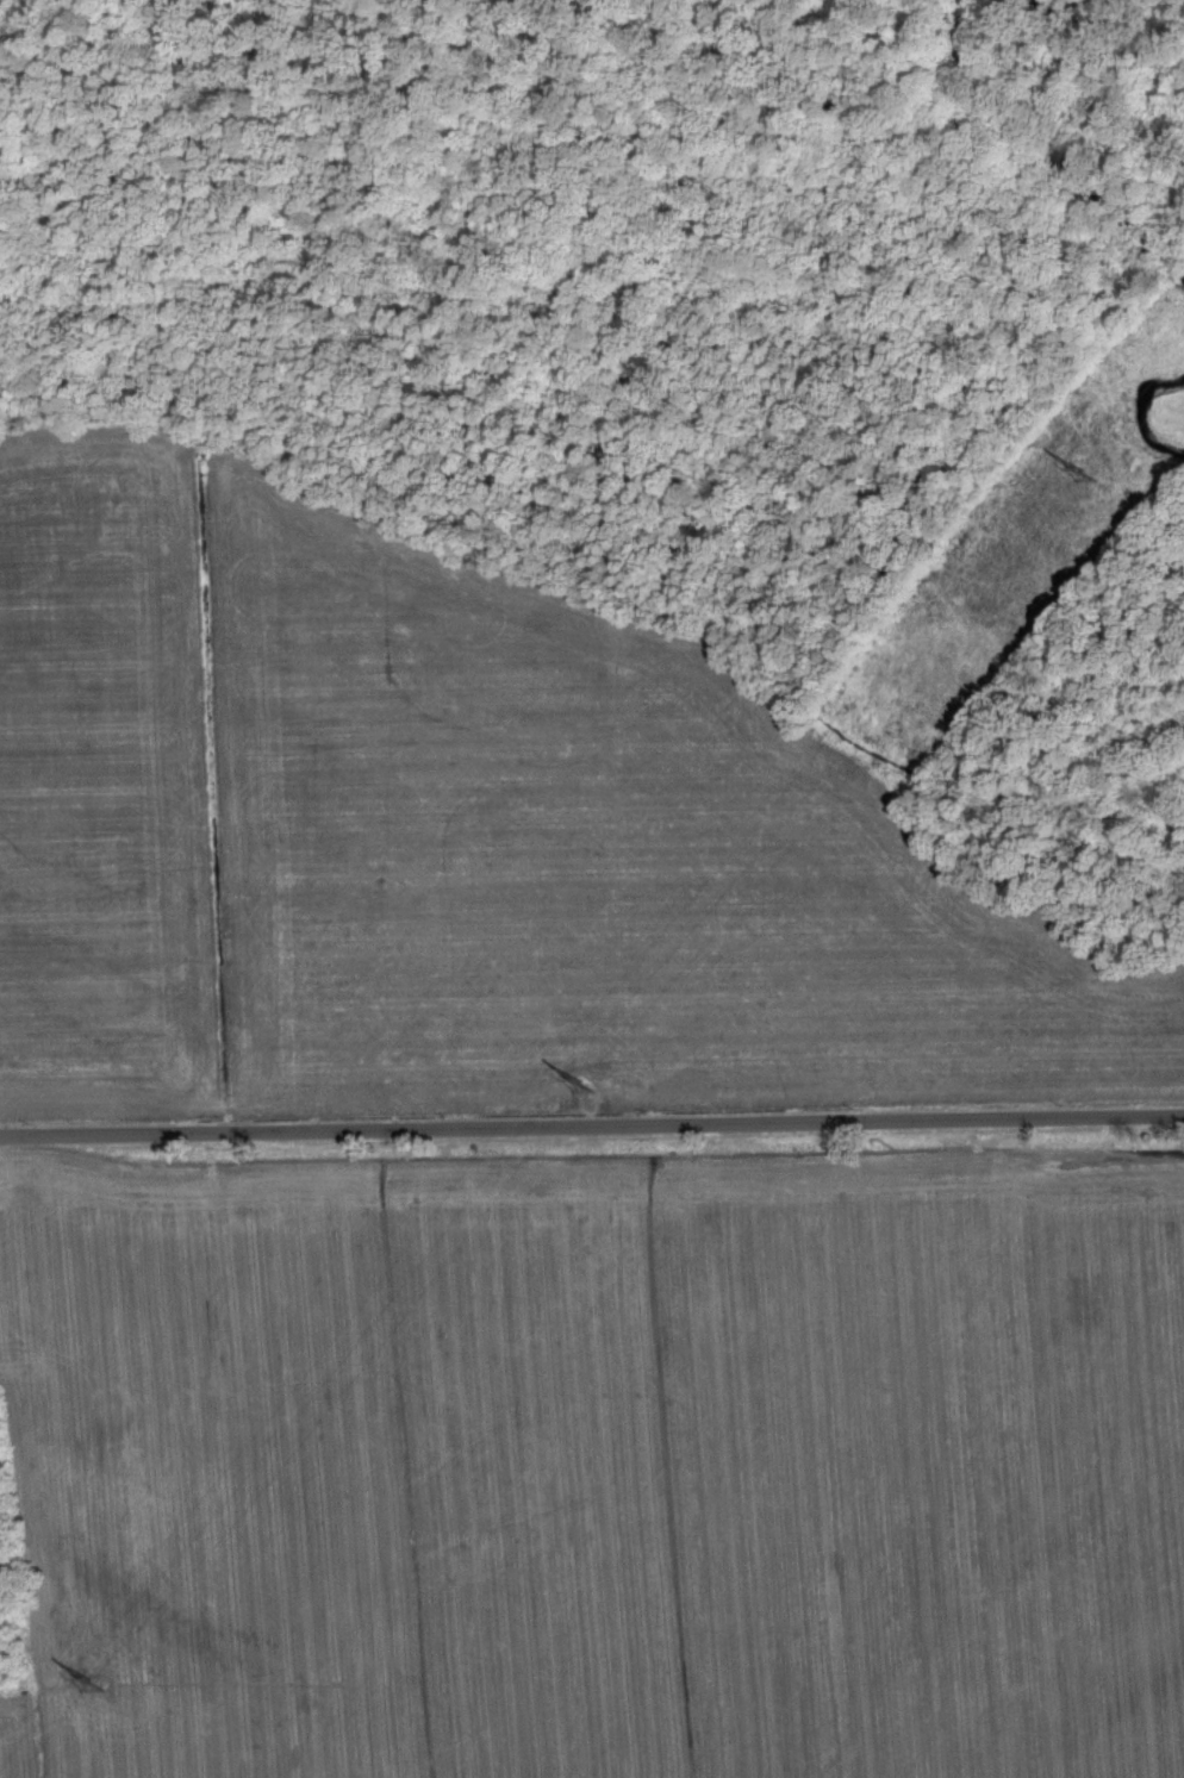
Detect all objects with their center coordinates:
power tower: (1088, 474)
power tower: (586, 1086)
road: (592, 1130)
power tower: (92, 1680)

